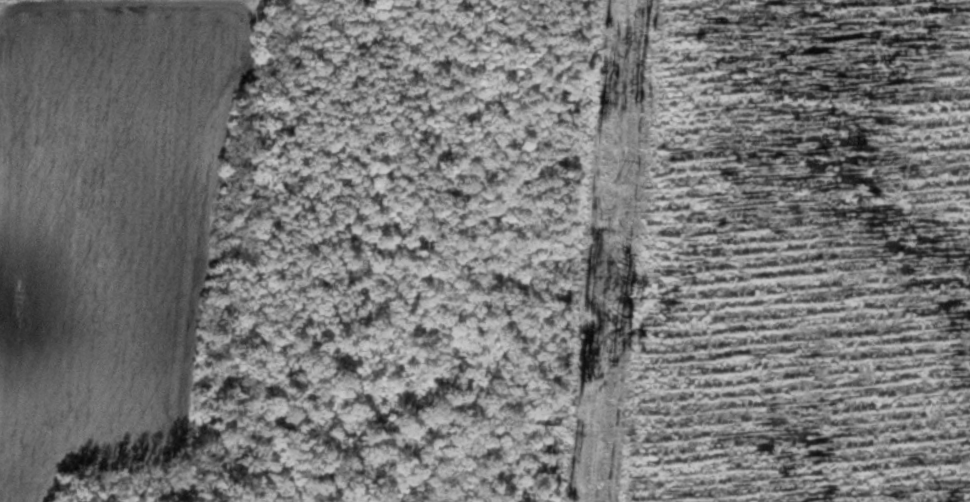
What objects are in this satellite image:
power tower: (621, 182)

